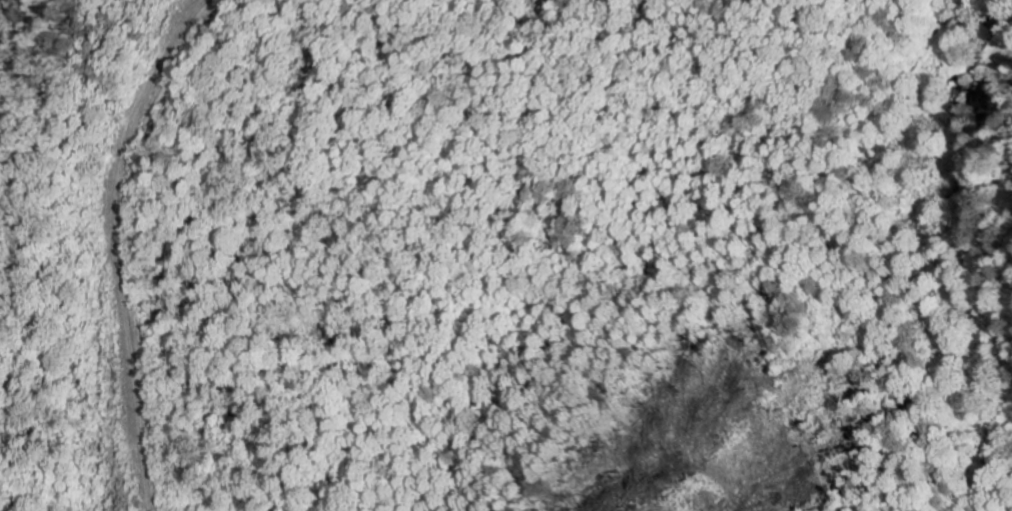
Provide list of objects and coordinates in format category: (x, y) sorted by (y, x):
road: (994, 29)

